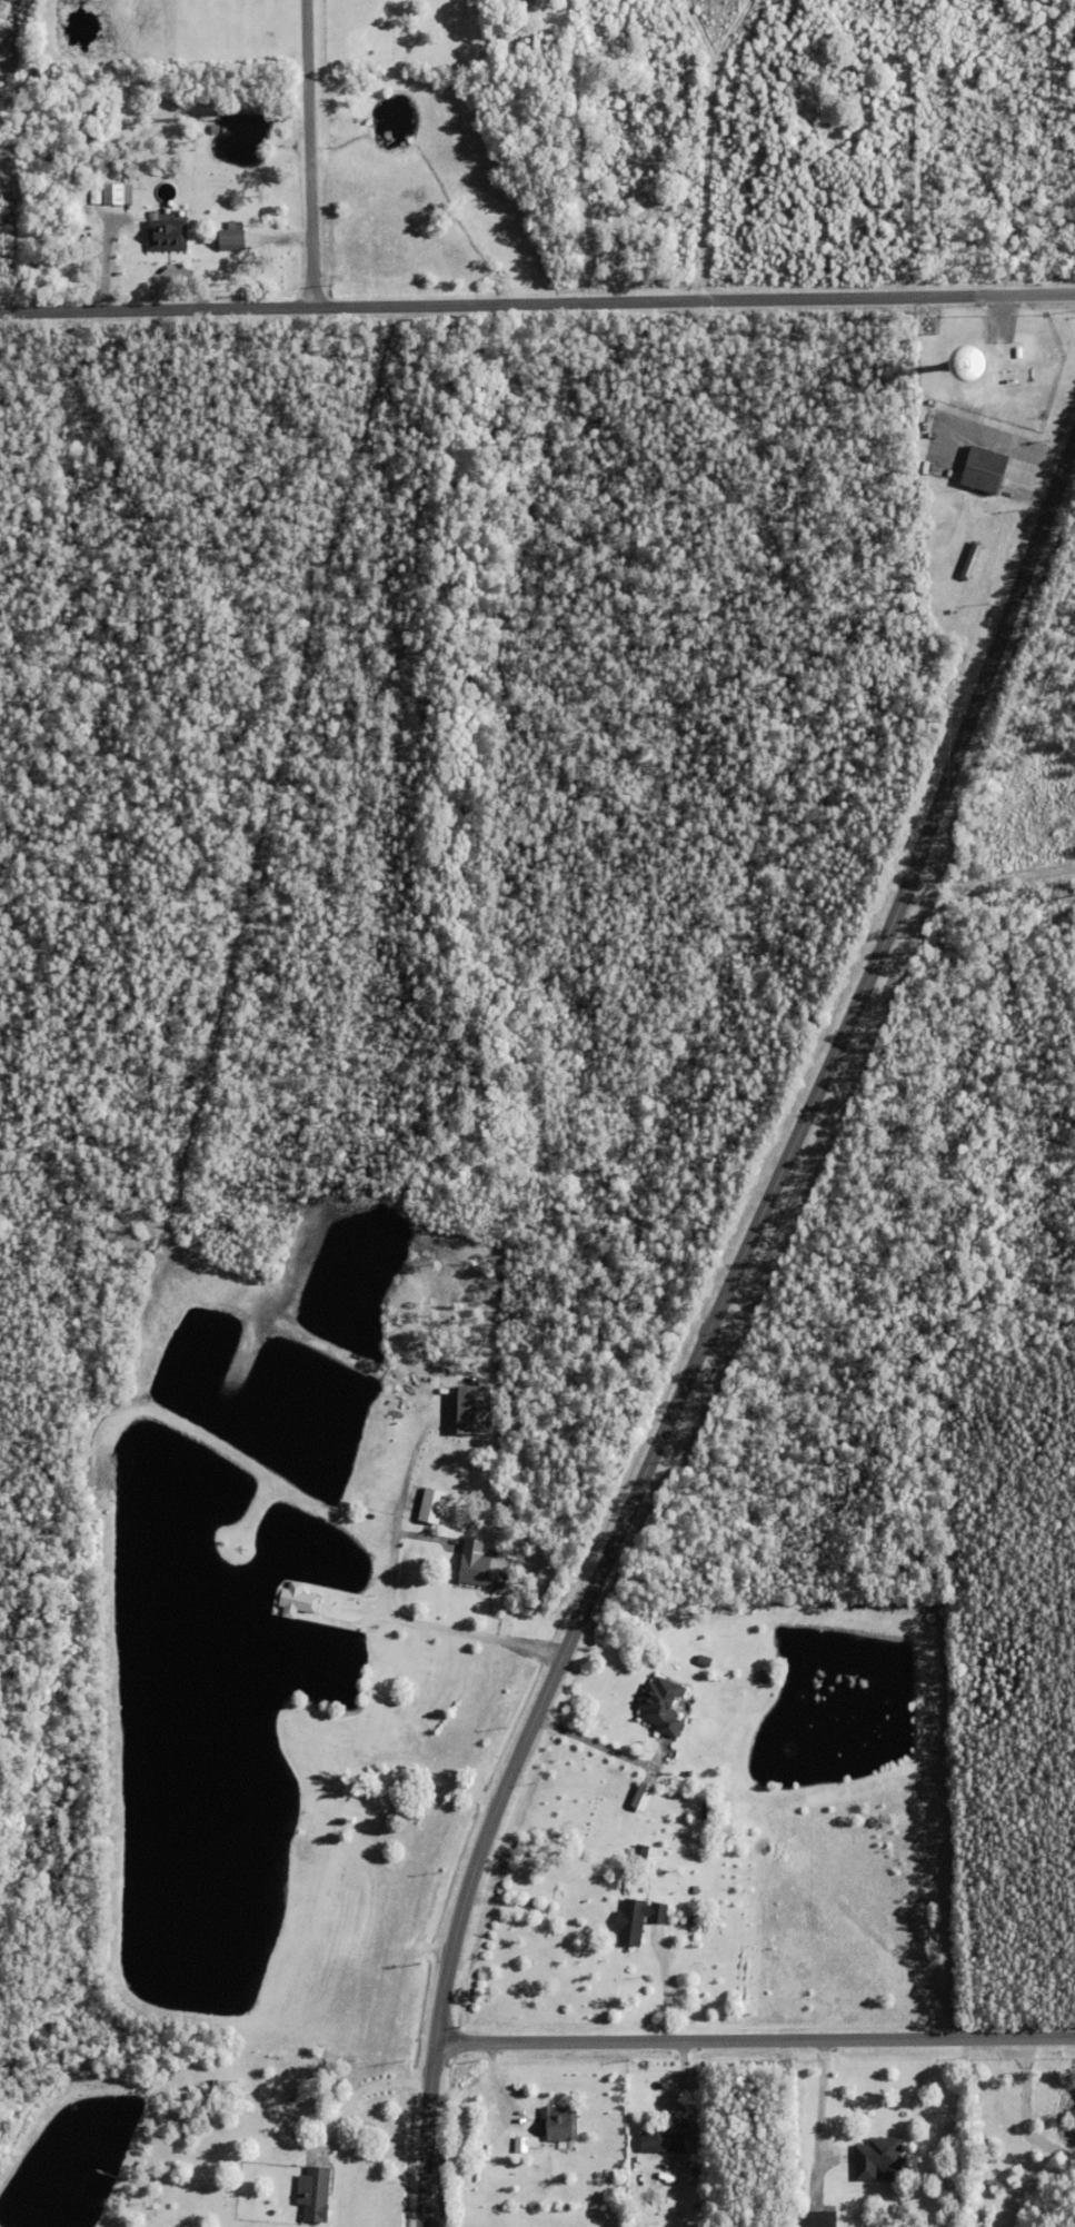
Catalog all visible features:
road: (311, 155)
building: (118, 193)
building: (168, 233)
building: (232, 237)
road: (537, 304)
building: (928, 374)
building: (985, 469)
building: (968, 561)
road: (711, 1328)
building: (474, 1413)
building: (432, 1508)
building: (481, 1568)
building: (298, 1602)
road: (430, 1627)
building: (766, 1678)
building: (663, 1708)
building: (637, 1797)
building: (696, 1891)
building: (637, 1921)
building: (651, 1943)
road: (756, 2039)
road: (361, 2090)
road: (816, 2100)
building: (560, 2122)
building: (664, 2139)
building: (522, 2143)
building: (876, 2159)
building: (656, 2183)
building: (315, 2190)
building: (815, 2219)

